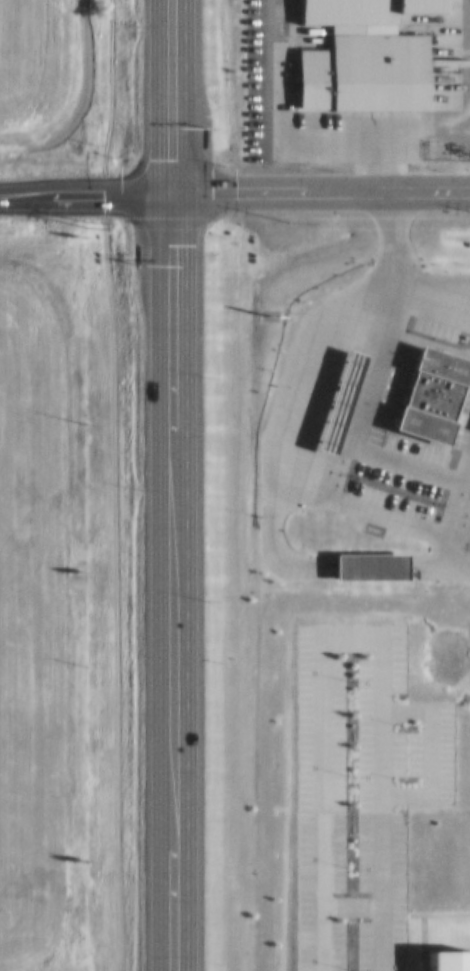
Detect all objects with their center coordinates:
building: (358, 67)
road: (171, 99)
road: (86, 198)
road: (321, 200)
road: (173, 585)

